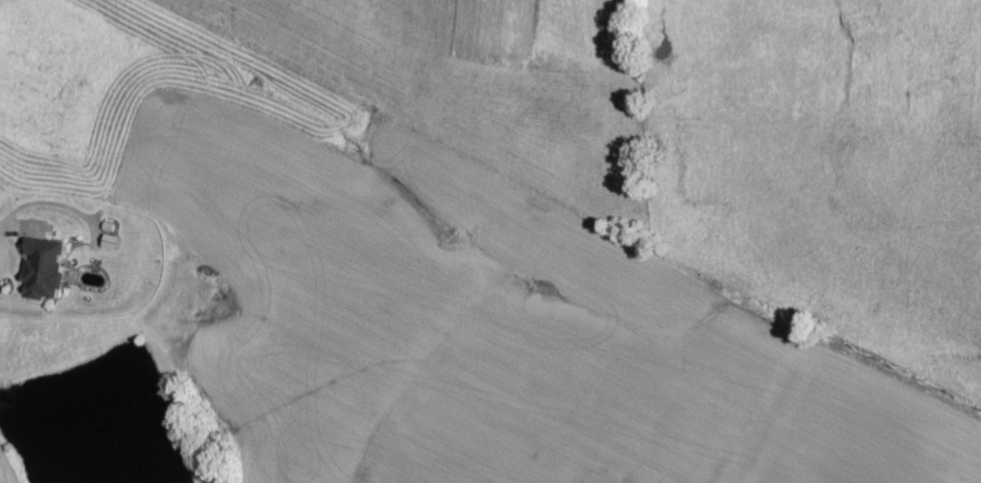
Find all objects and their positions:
building: (46, 270)

